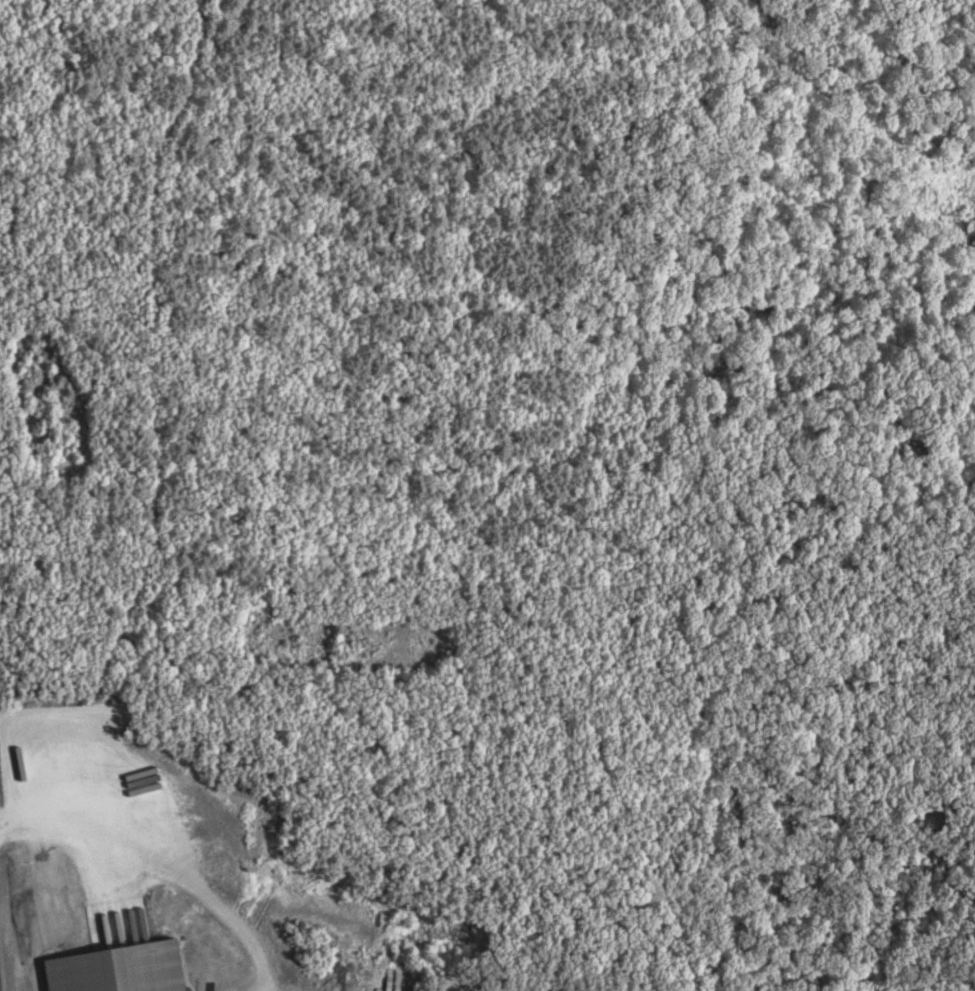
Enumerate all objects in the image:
road: (123, 894)

